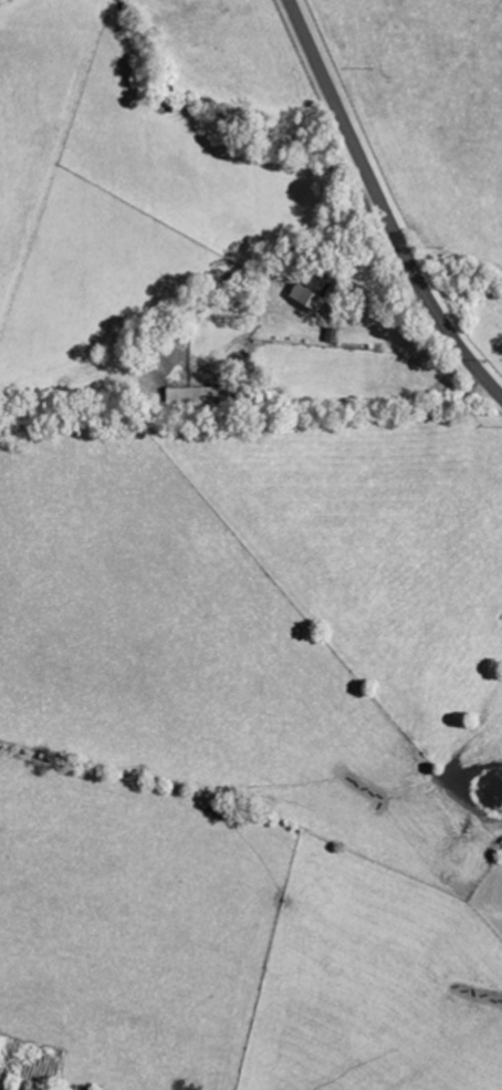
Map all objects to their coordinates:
road: (381, 207)
building: (311, 291)

